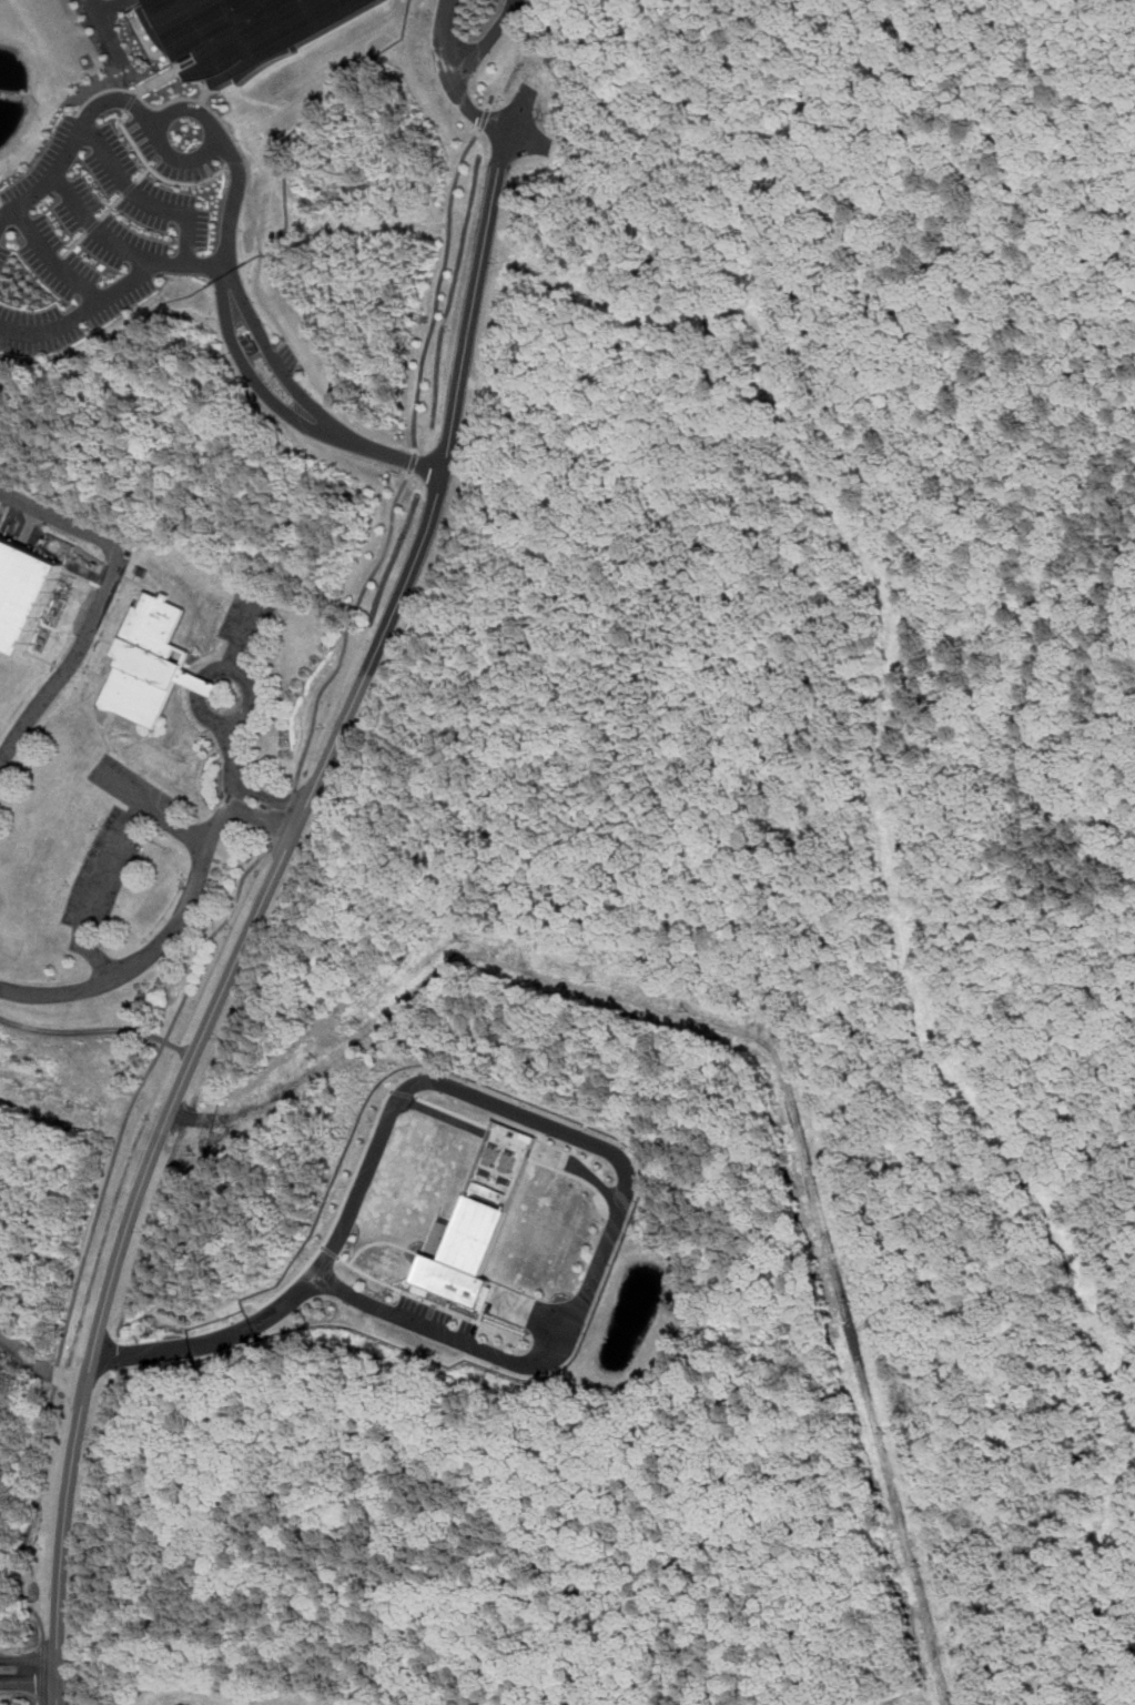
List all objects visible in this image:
road: (118, 9)
building: (245, 29)
road: (105, 31)
road: (485, 42)
road: (459, 95)
road: (101, 104)
road: (483, 118)
road: (142, 200)
road: (95, 230)
road: (50, 261)
road: (439, 289)
road: (110, 294)
road: (247, 306)
road: (412, 463)
building: (27, 591)
road: (98, 602)
road: (242, 630)
building: (151, 663)
road: (223, 667)
building: (202, 683)
road: (268, 796)
road: (150, 806)
road: (262, 818)
road: (94, 889)
road: (266, 895)
road: (178, 917)
road: (99, 1033)
road: (524, 1114)
building: (469, 1255)
road: (39, 1620)
road: (28, 1659)
road: (42, 1669)
road: (28, 1682)
road: (22, 1692)
road: (42, 1703)

